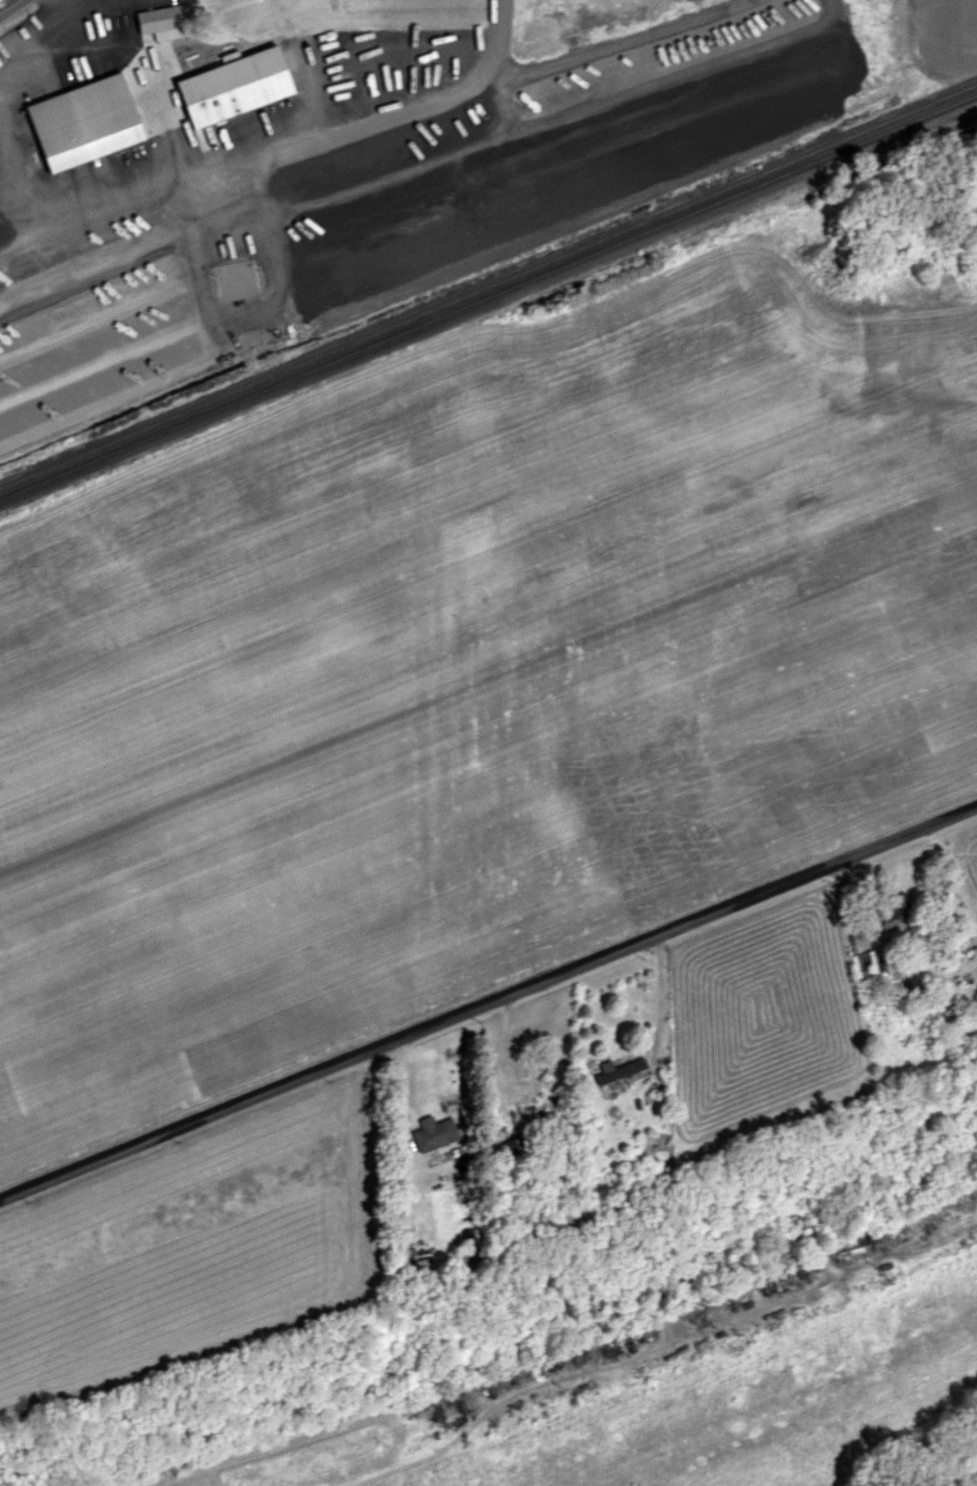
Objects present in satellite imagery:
road: (7, 6)
building: (166, 23)
road: (611, 45)
road: (60, 50)
building: (242, 86)
building: (91, 123)
road: (241, 173)
road: (553, 175)
road: (16, 240)
railway: (486, 287)
railway: (489, 301)
road: (264, 311)
road: (190, 370)
crop: (487, 729)
building: (896, 920)
building: (867, 967)
road: (656, 996)
road: (487, 997)
road: (397, 1090)
building: (438, 1134)
crop: (202, 1239)
crop: (239, 1475)

